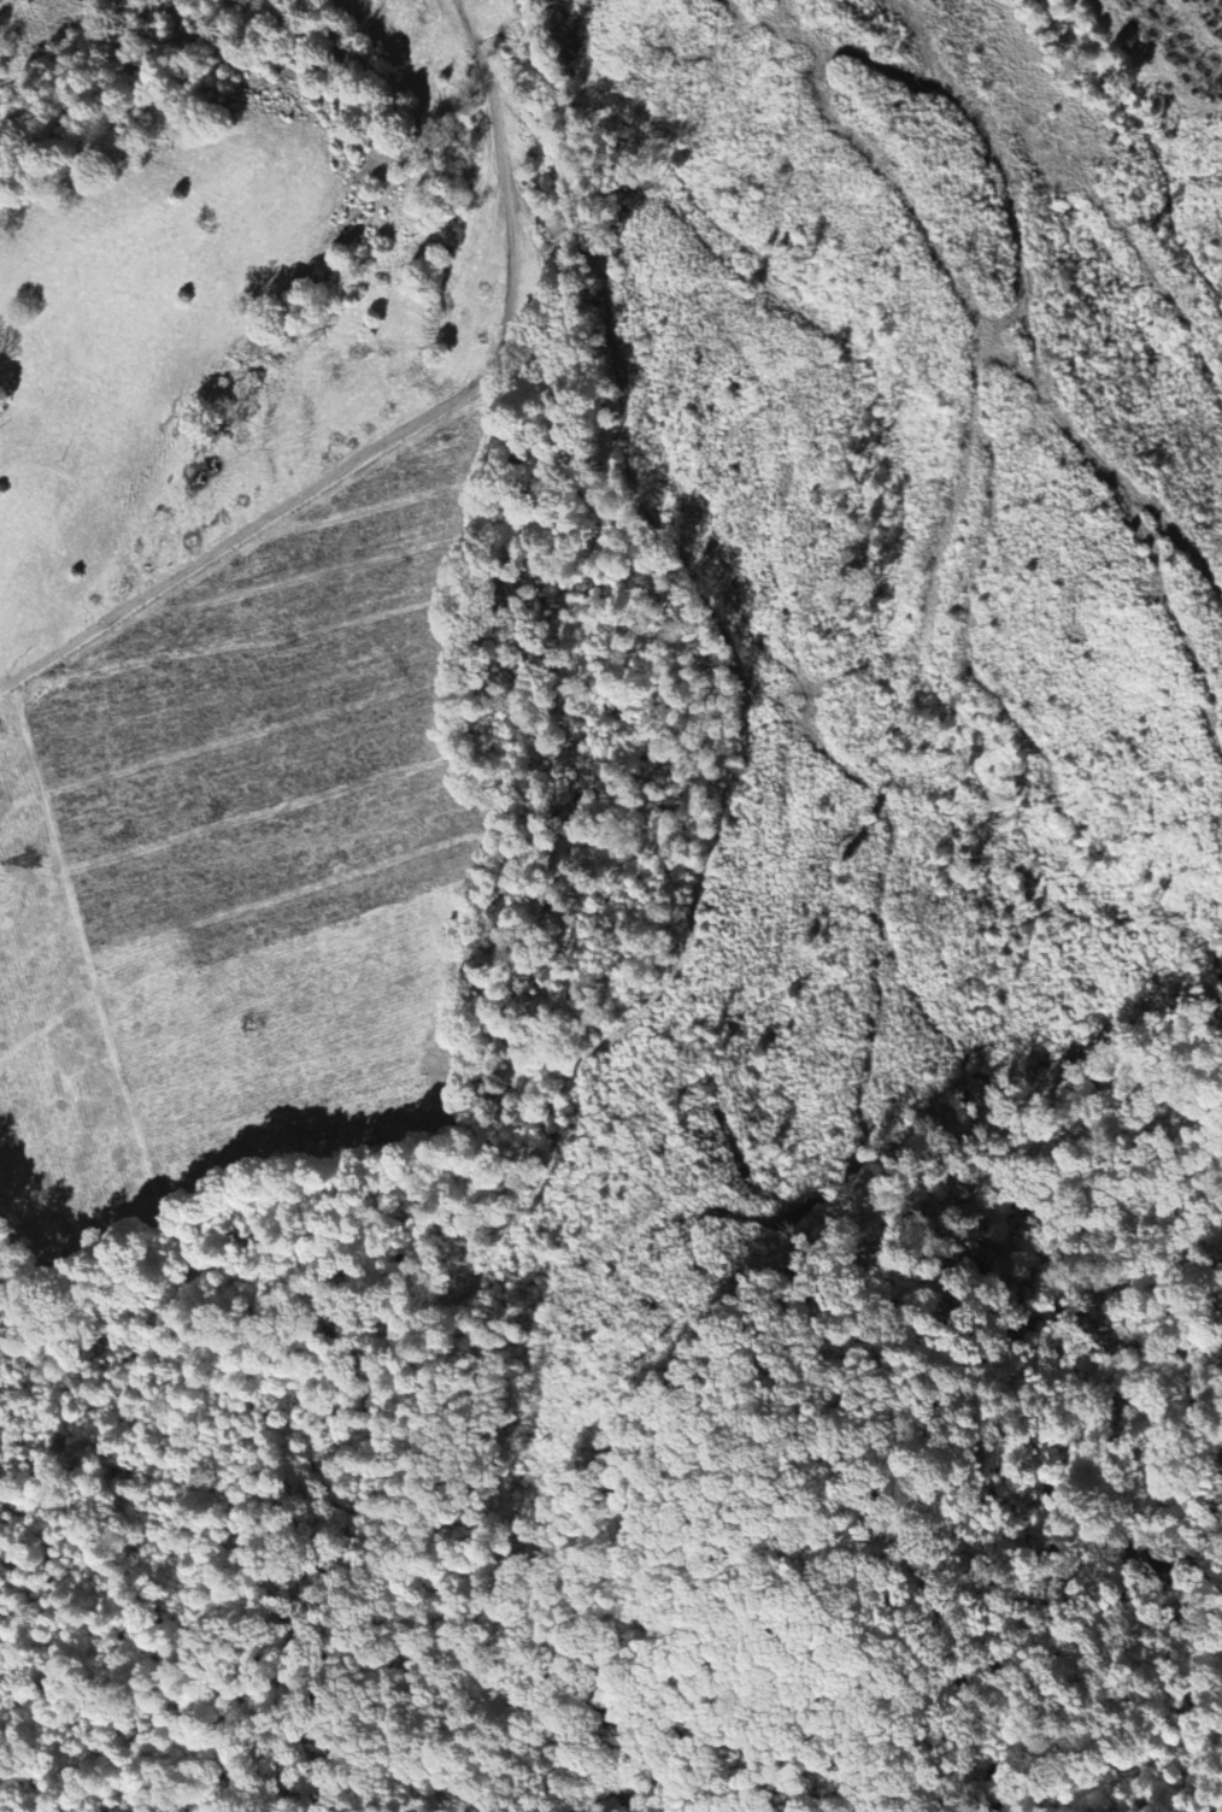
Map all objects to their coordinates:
road: (686, 941)
road: (662, 1789)

